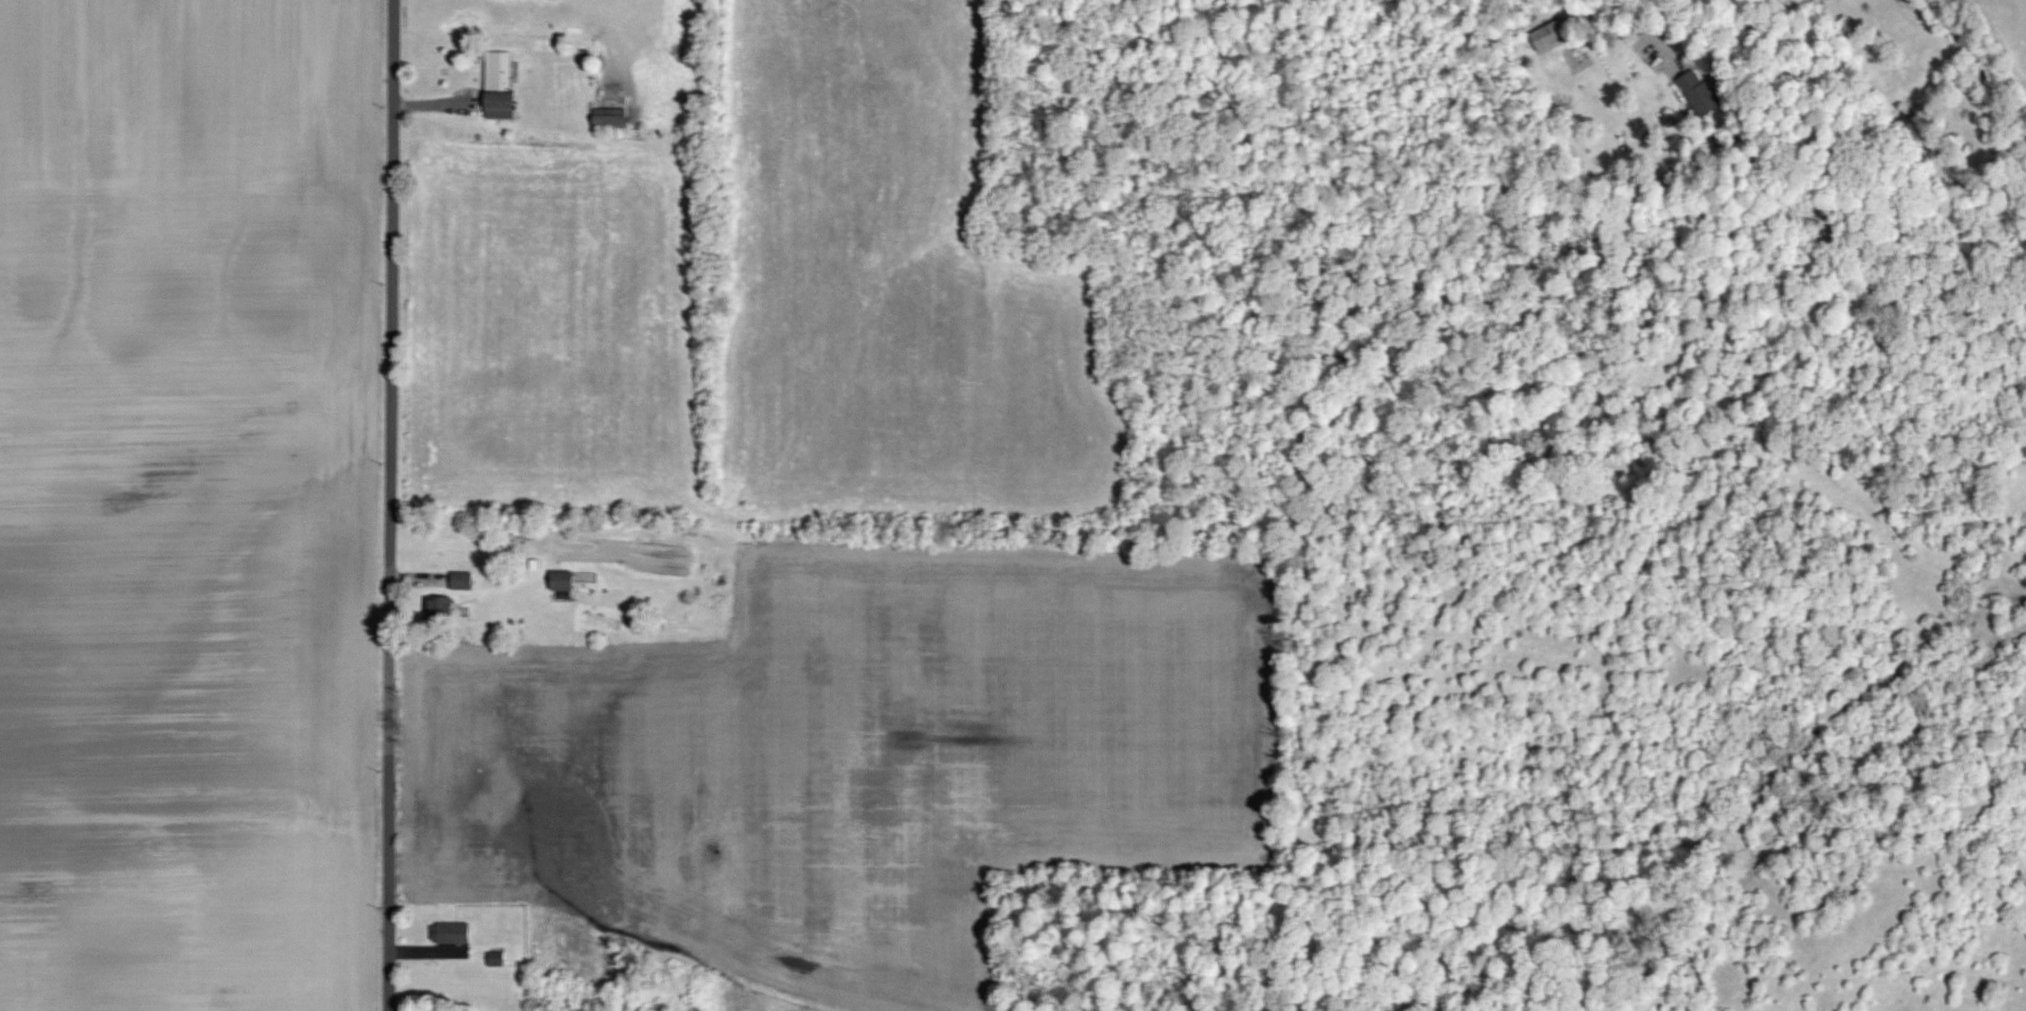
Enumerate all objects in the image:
road: (1651, 16)
building: (1549, 36)
building: (501, 71)
building: (1703, 95)
building: (503, 107)
building: (612, 120)
road: (391, 505)
building: (464, 580)
building: (565, 581)
building: (442, 605)
building: (453, 933)
building: (497, 959)

